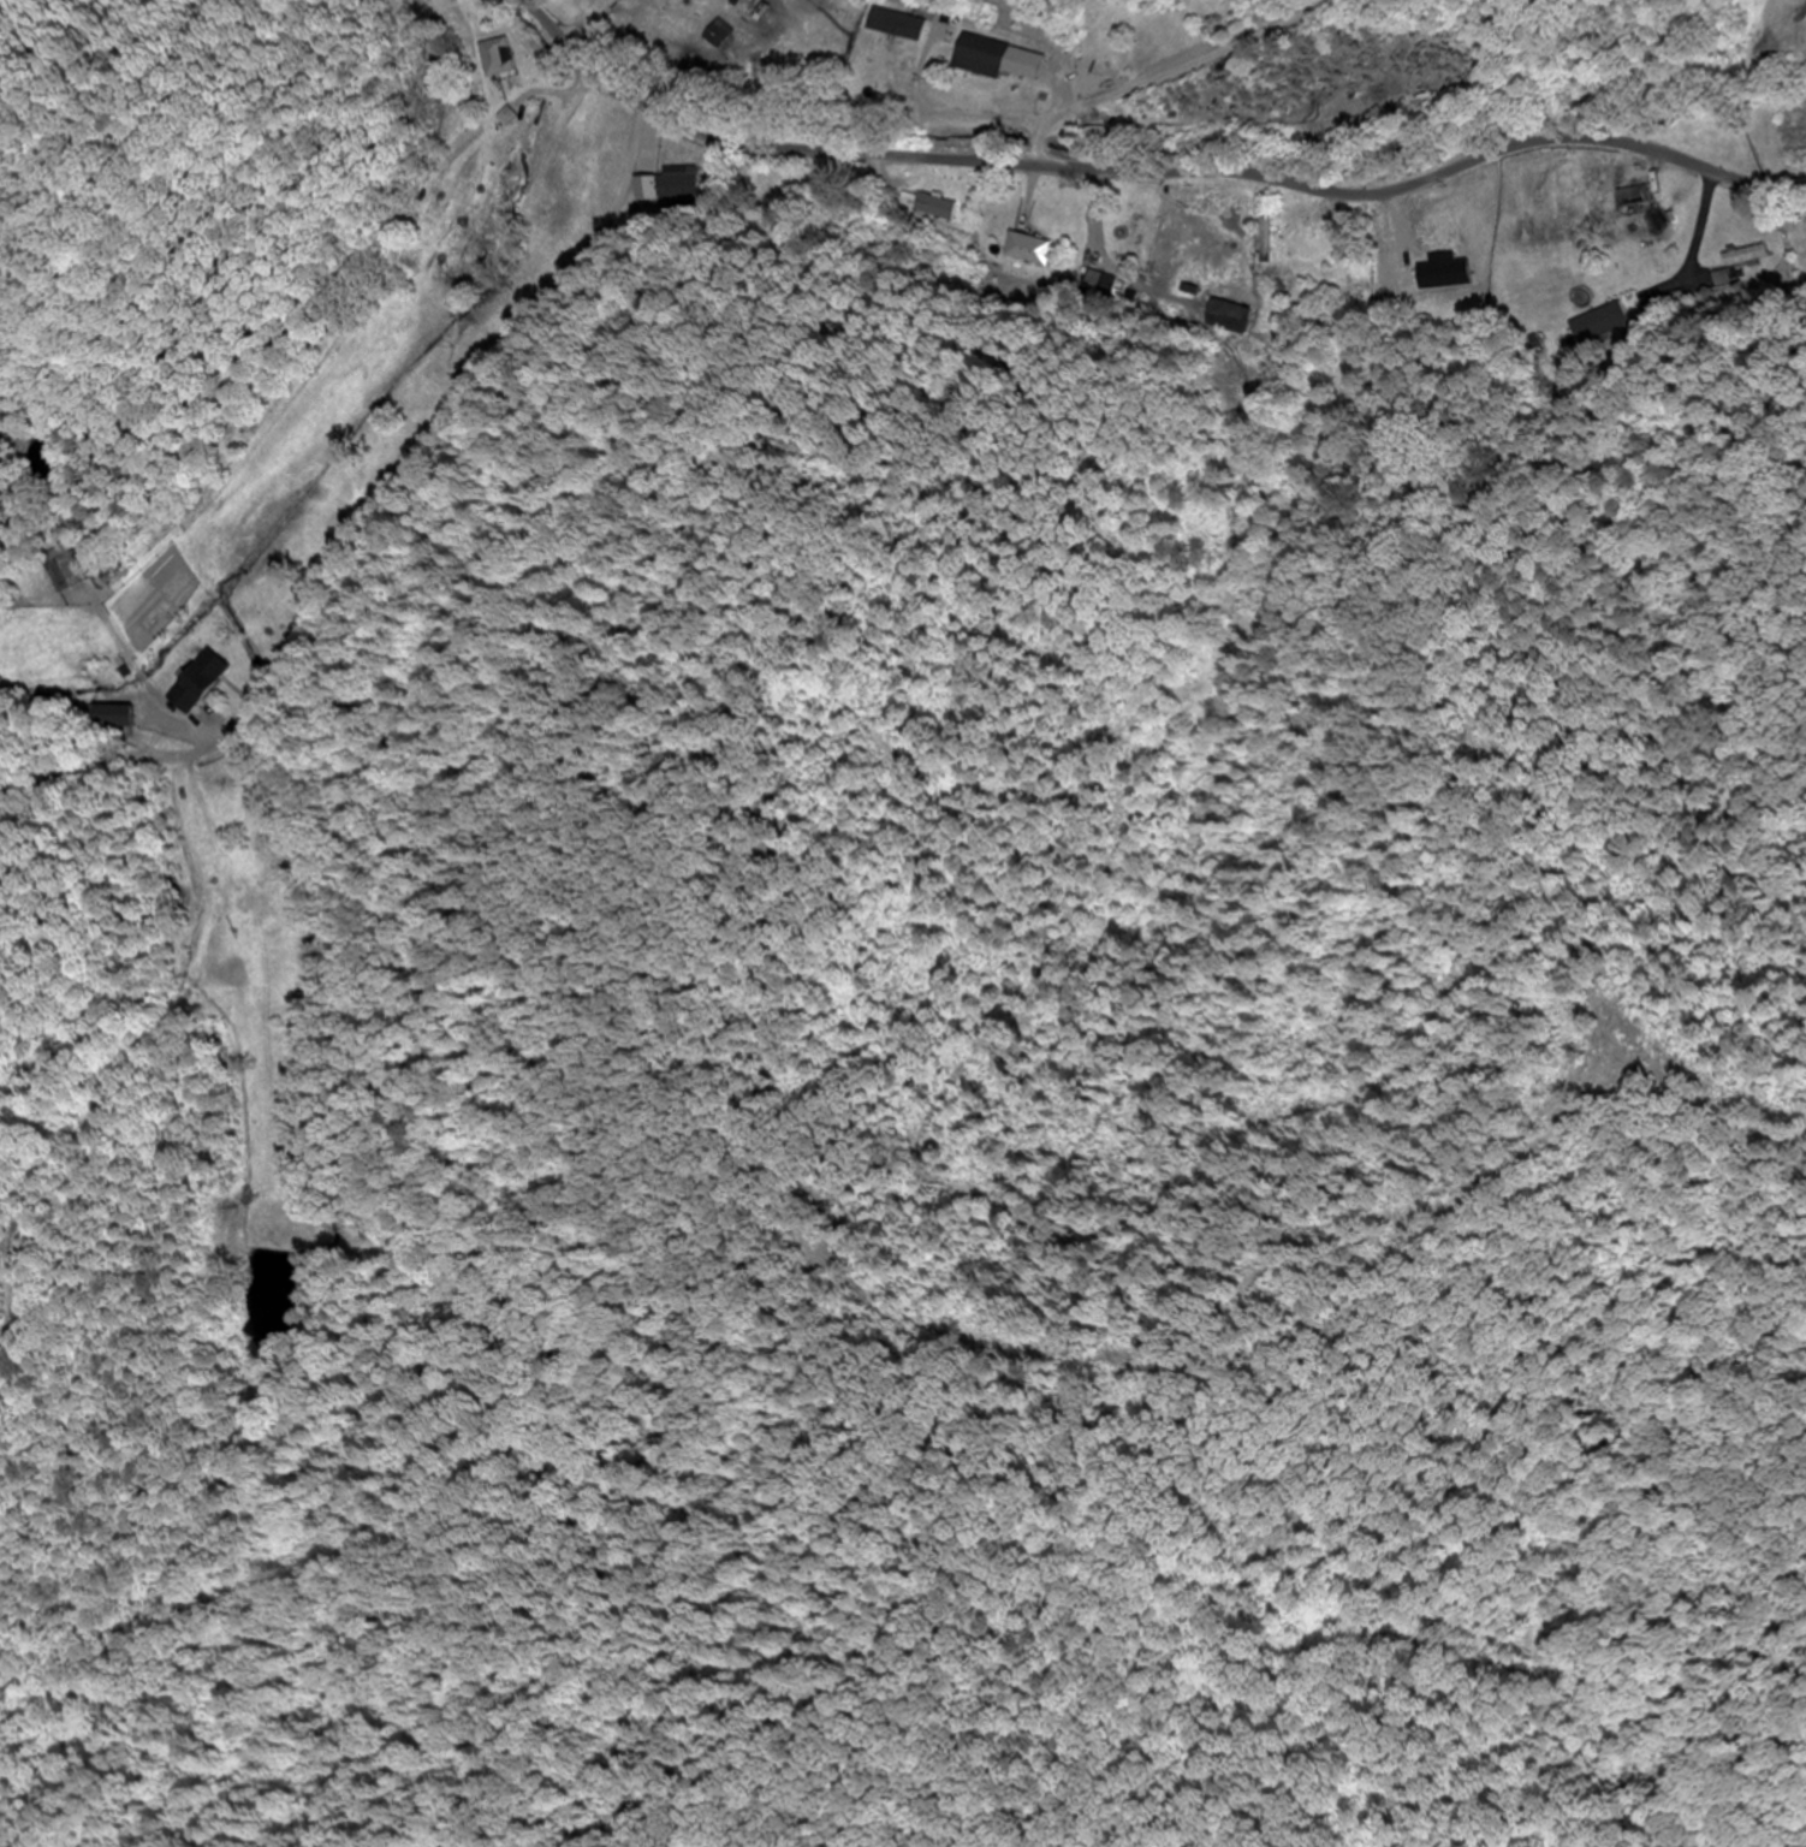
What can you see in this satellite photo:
building: (719, 36)
building: (976, 58)
building: (499, 59)
road: (1162, 70)
road: (1149, 174)
building: (670, 184)
building: (1638, 201)
building: (934, 207)
building: (1266, 242)
building: (1383, 249)
building: (1747, 256)
road: (390, 261)
building: (416, 267)
building: (1446, 278)
building: (1611, 313)
road: (265, 393)
road: (436, 530)
building: (69, 574)
building: (197, 682)

